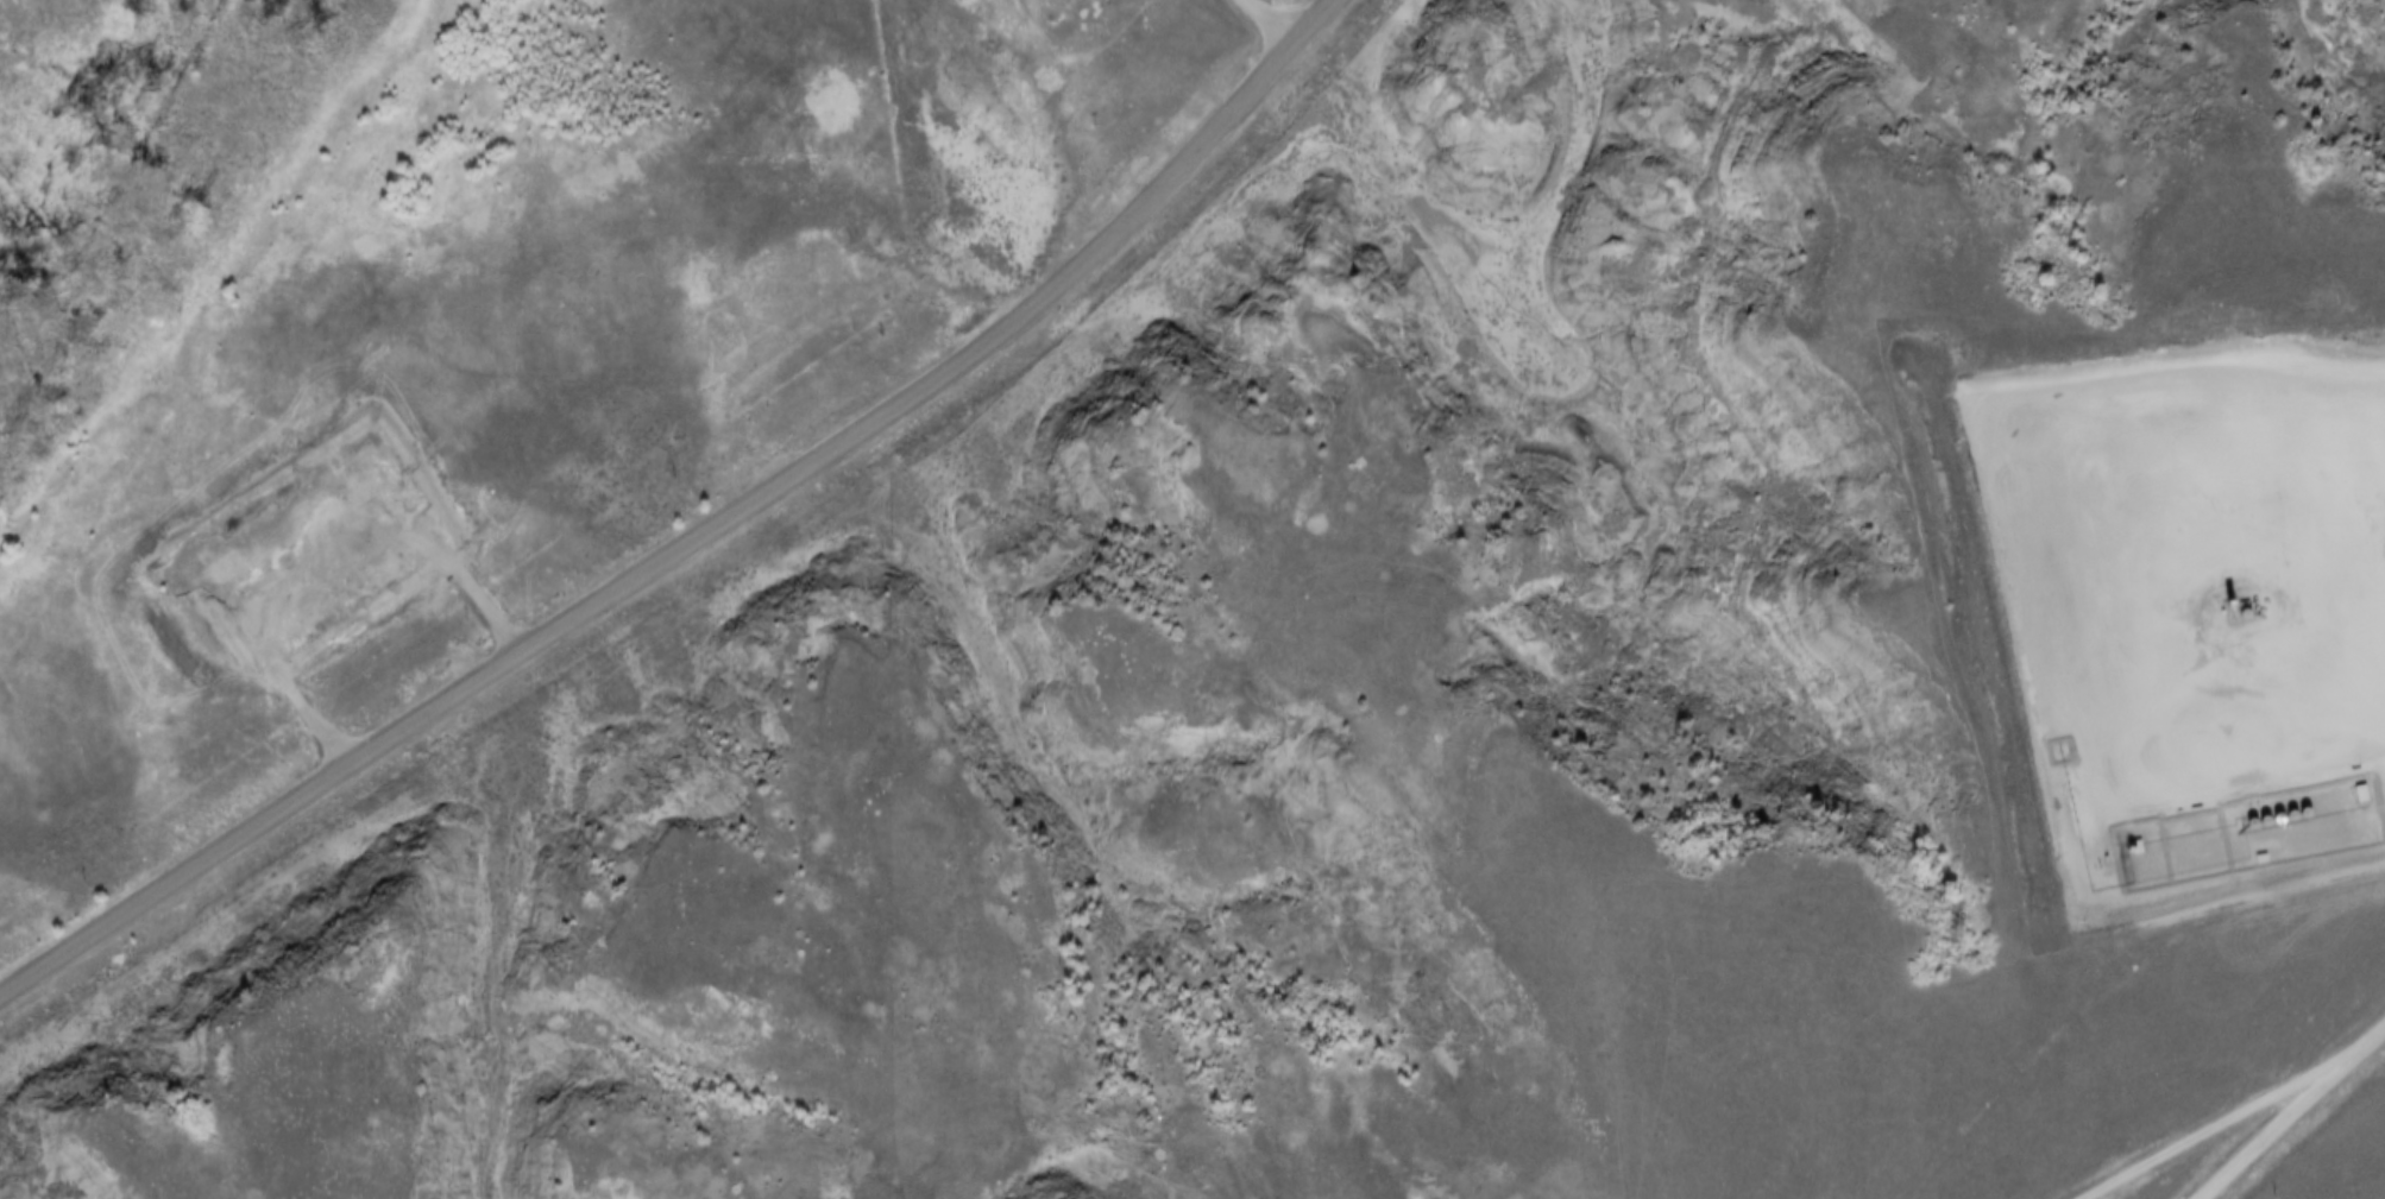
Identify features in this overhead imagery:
road: (1265, 23)
road: (699, 537)
road: (303, 545)
building: (216, 575)
road: (2244, 1115)
road: (2279, 1123)

